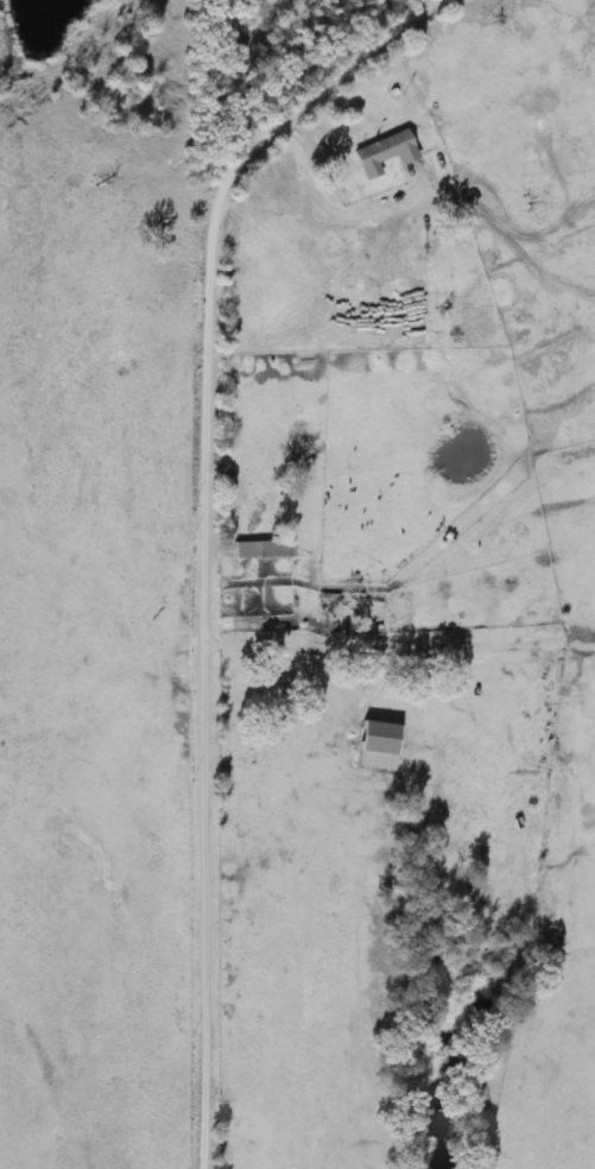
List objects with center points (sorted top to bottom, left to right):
building: (382, 154)
road: (208, 527)
building: (247, 550)
building: (374, 739)

